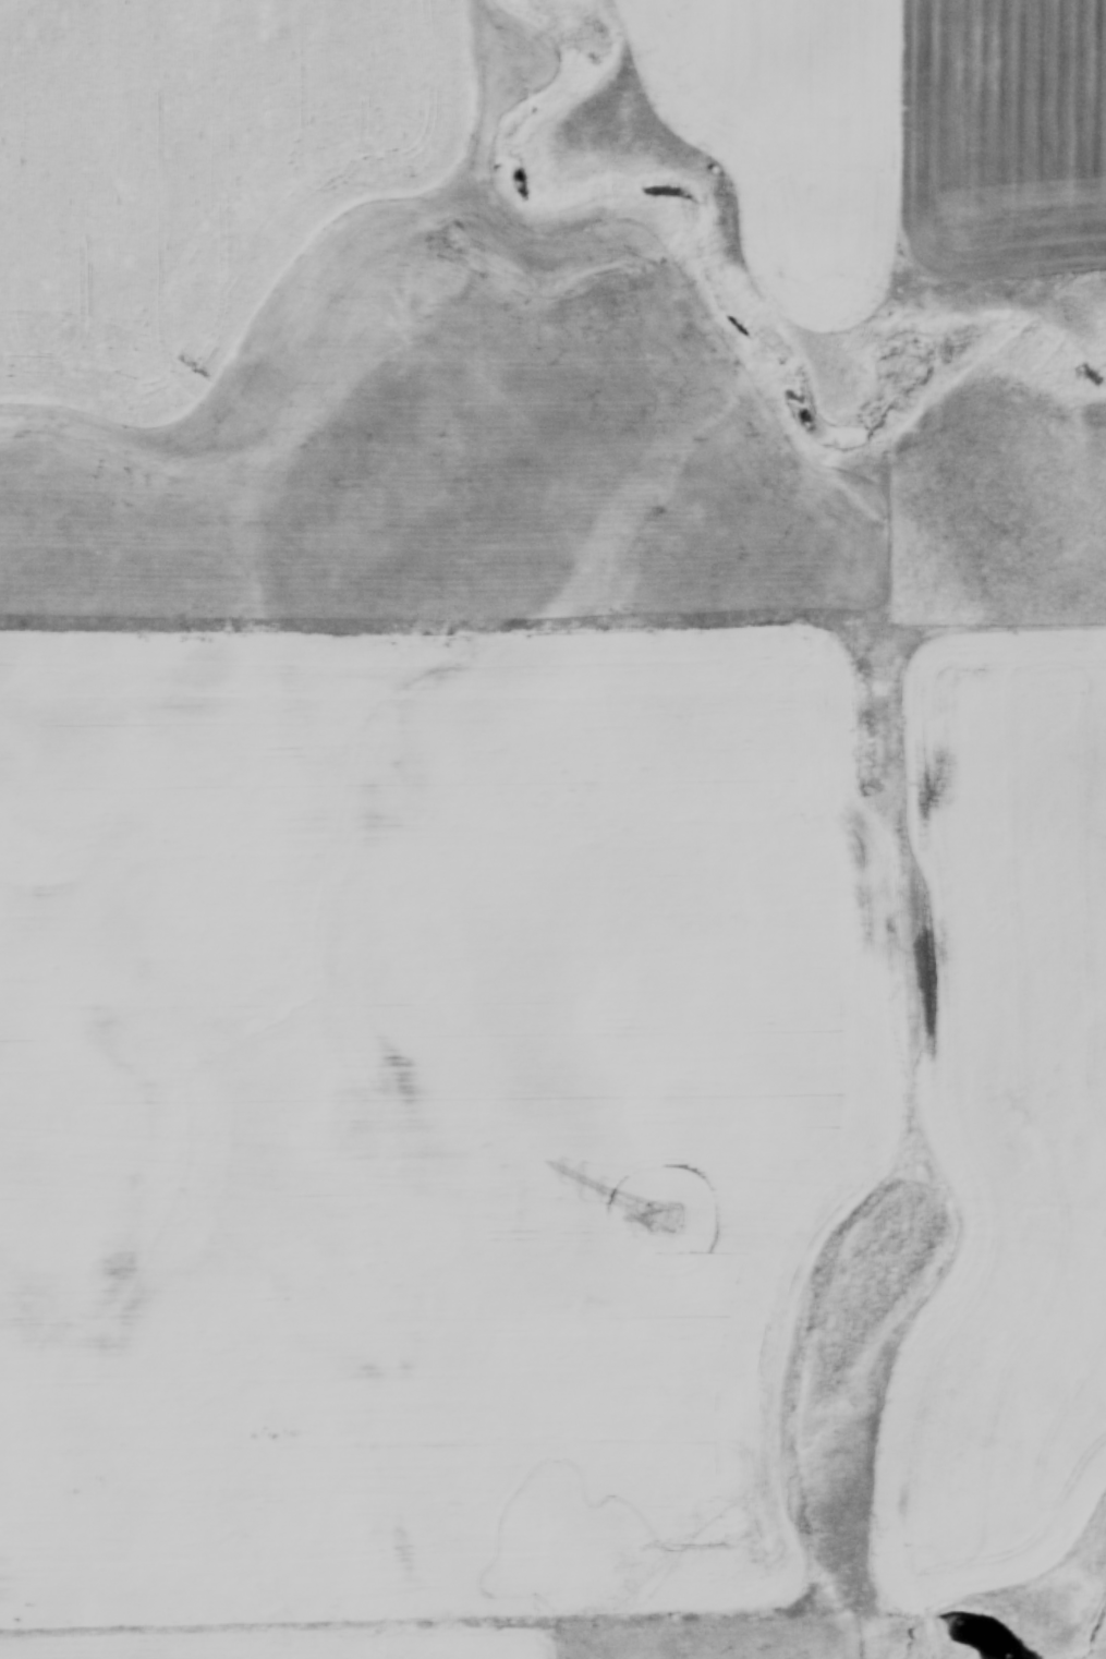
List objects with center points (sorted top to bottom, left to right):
power tower: (661, 1221)
river: (861, 1643)

